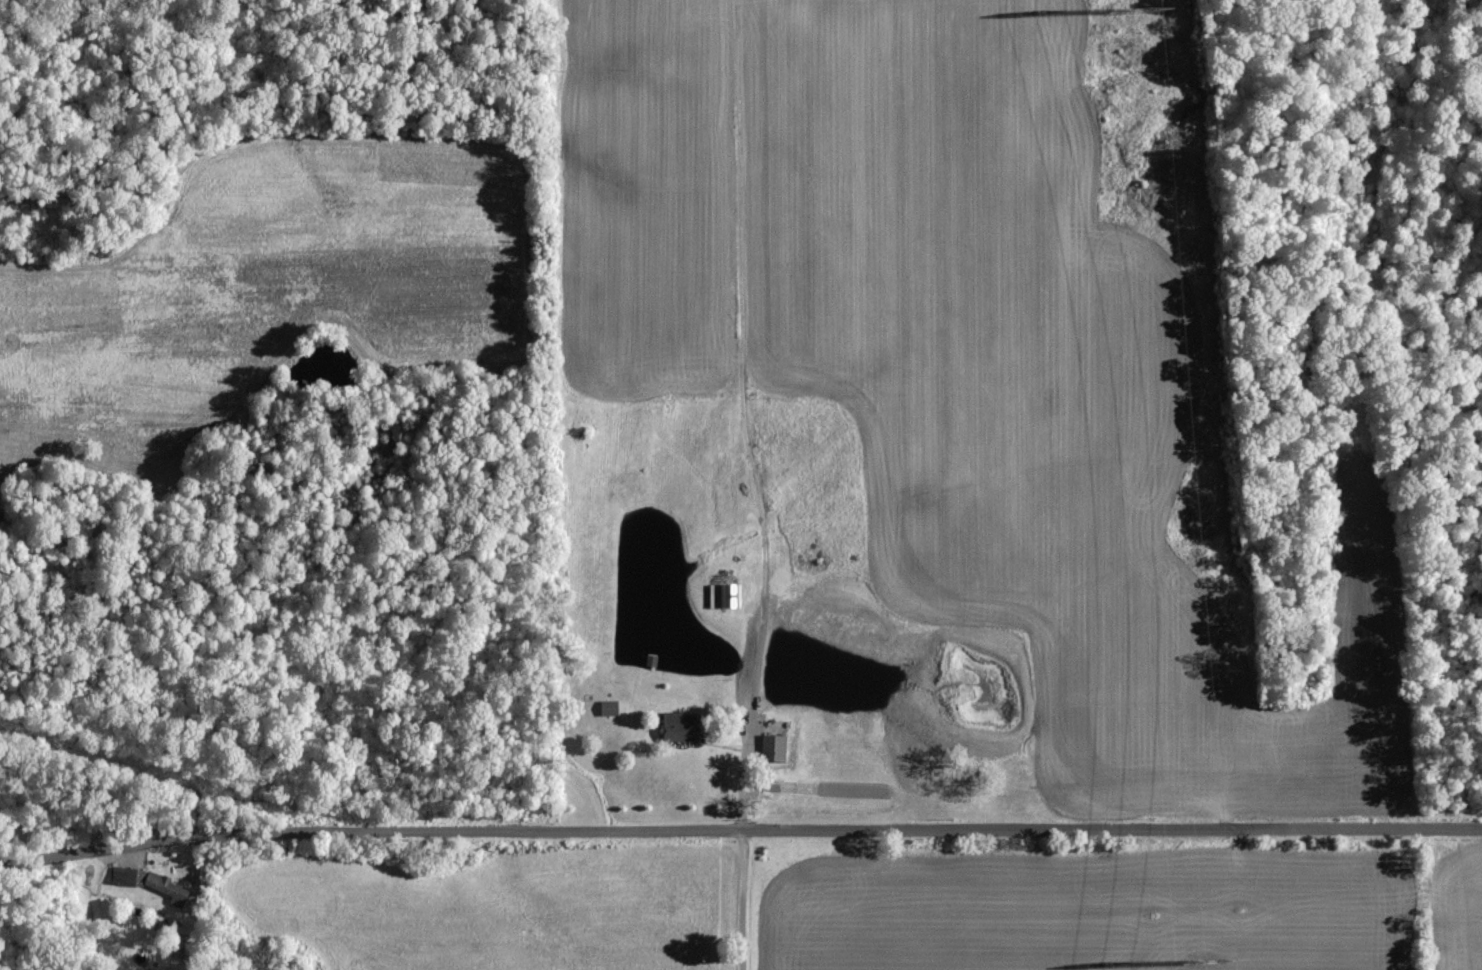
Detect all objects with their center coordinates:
power tower: (1124, 12)
building: (727, 596)
building: (612, 708)
building: (682, 727)
building: (777, 748)
road: (740, 838)
building: (152, 884)
power tower: (1198, 961)

